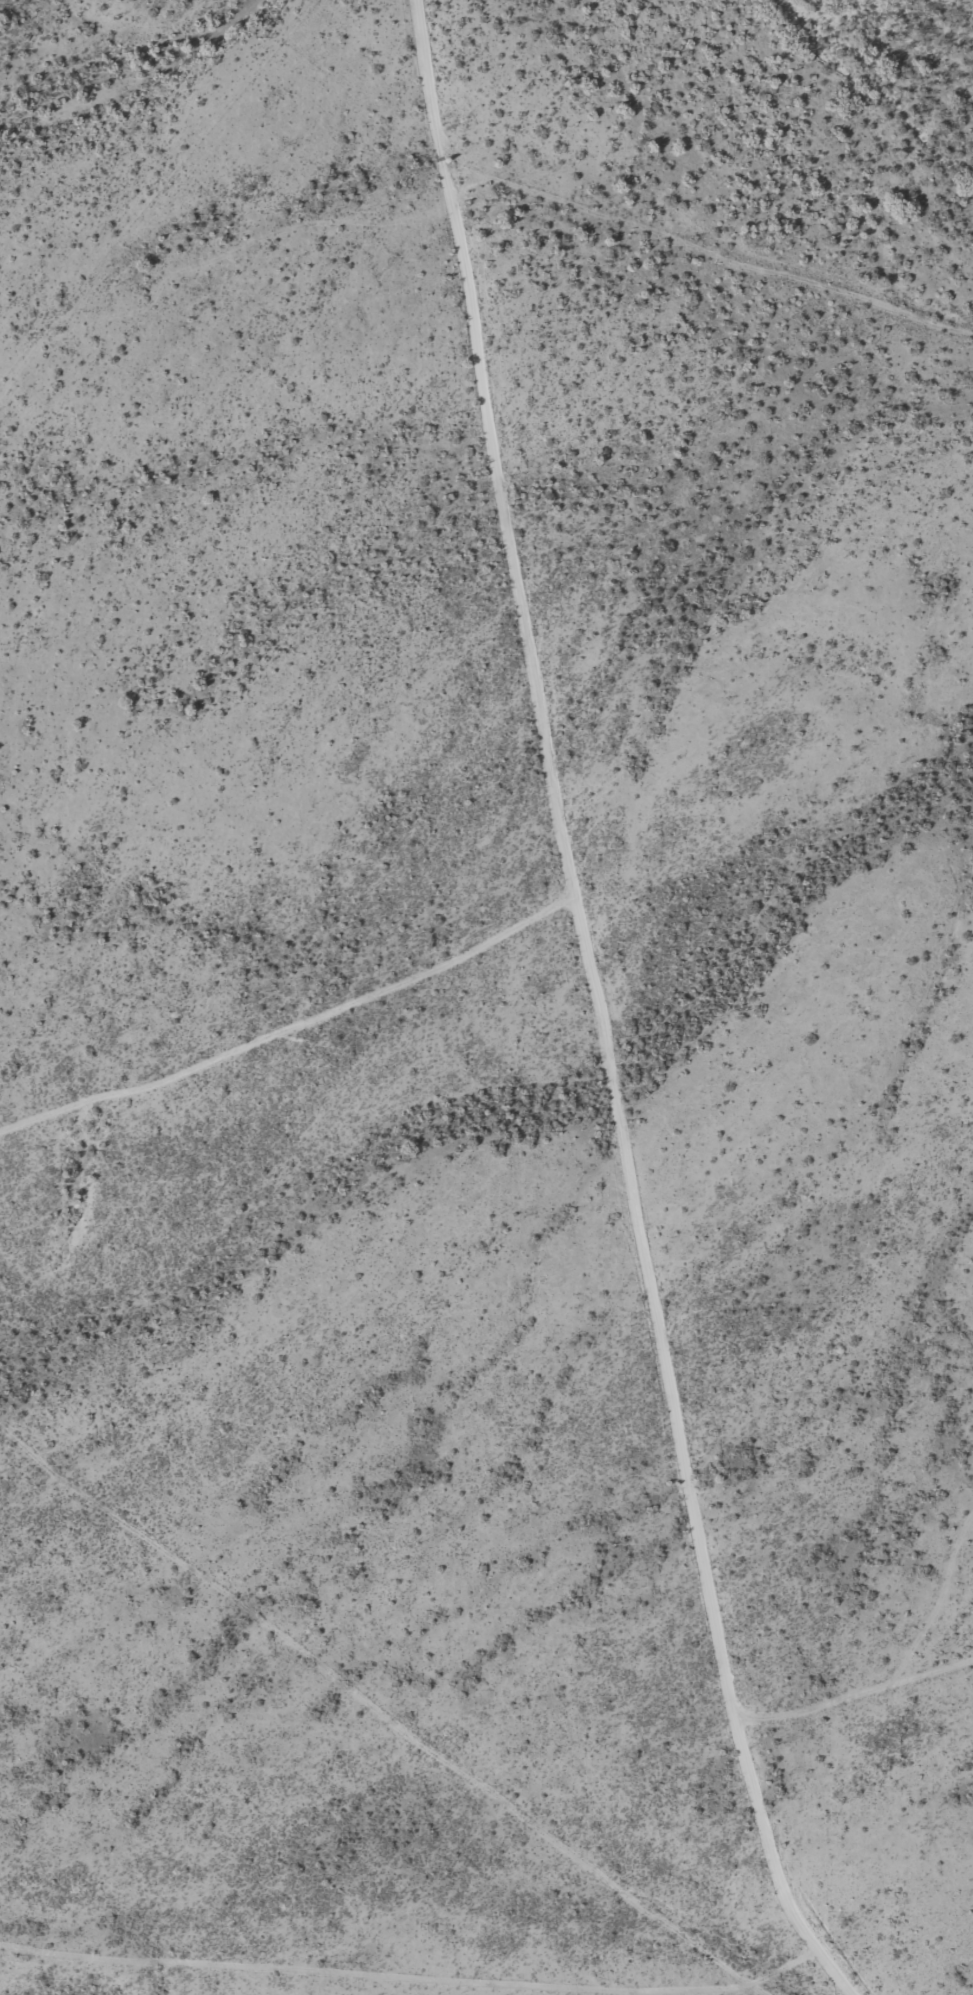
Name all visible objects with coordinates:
road: (278, 969)
road: (577, 1007)

